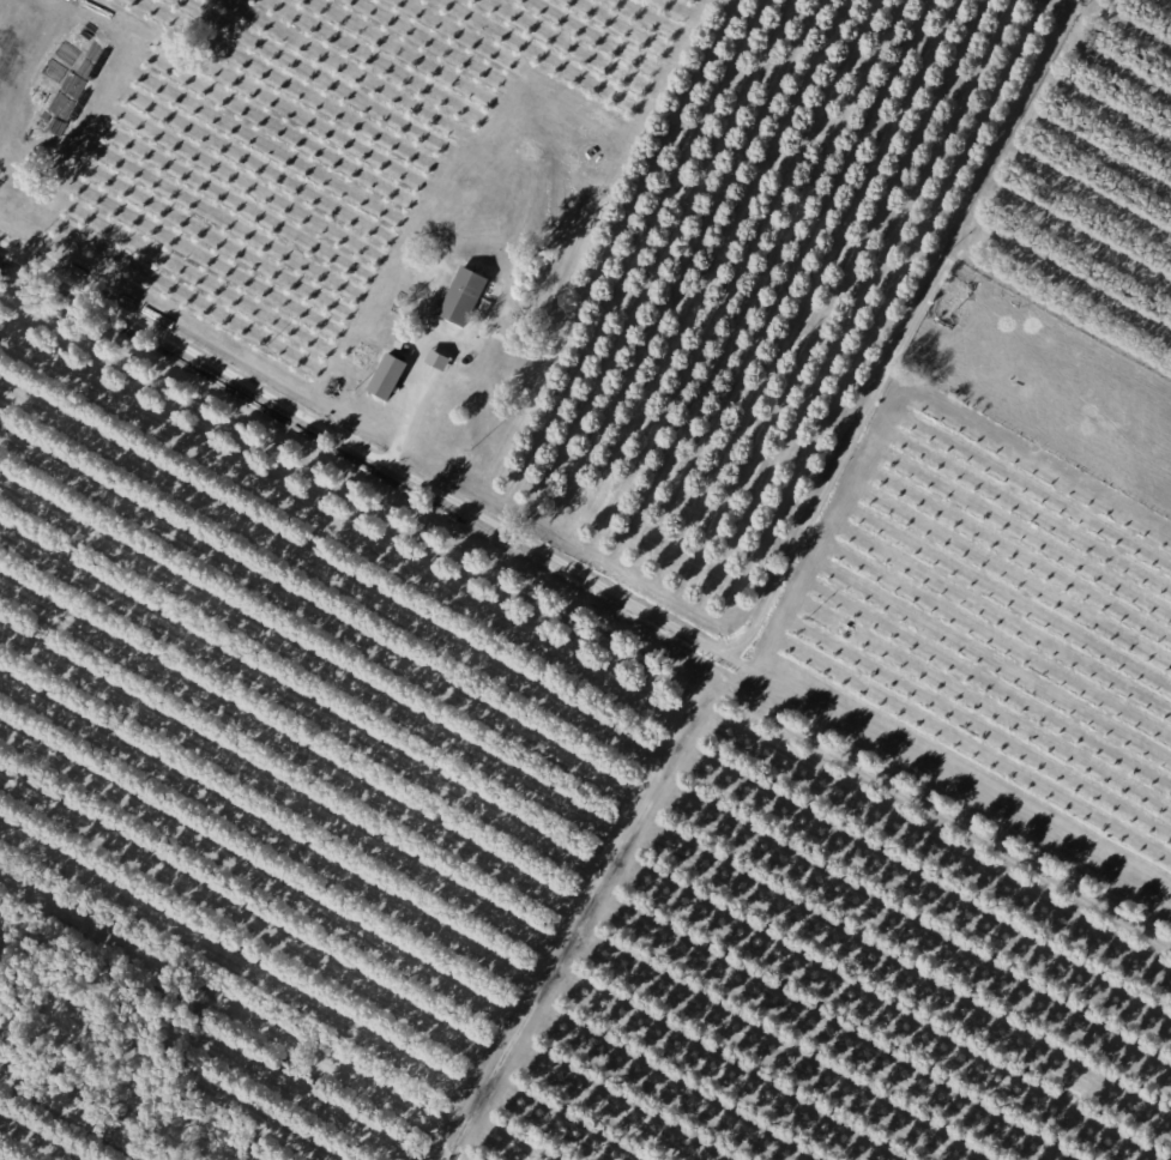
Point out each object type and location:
building: (587, 156)
crop: (247, 159)
building: (1027, 255)
building: (461, 297)
road: (1063, 312)
building: (400, 343)
building: (436, 361)
building: (387, 376)
road: (243, 386)
road: (814, 512)
crop: (997, 617)
building: (844, 640)
road: (590, 902)

